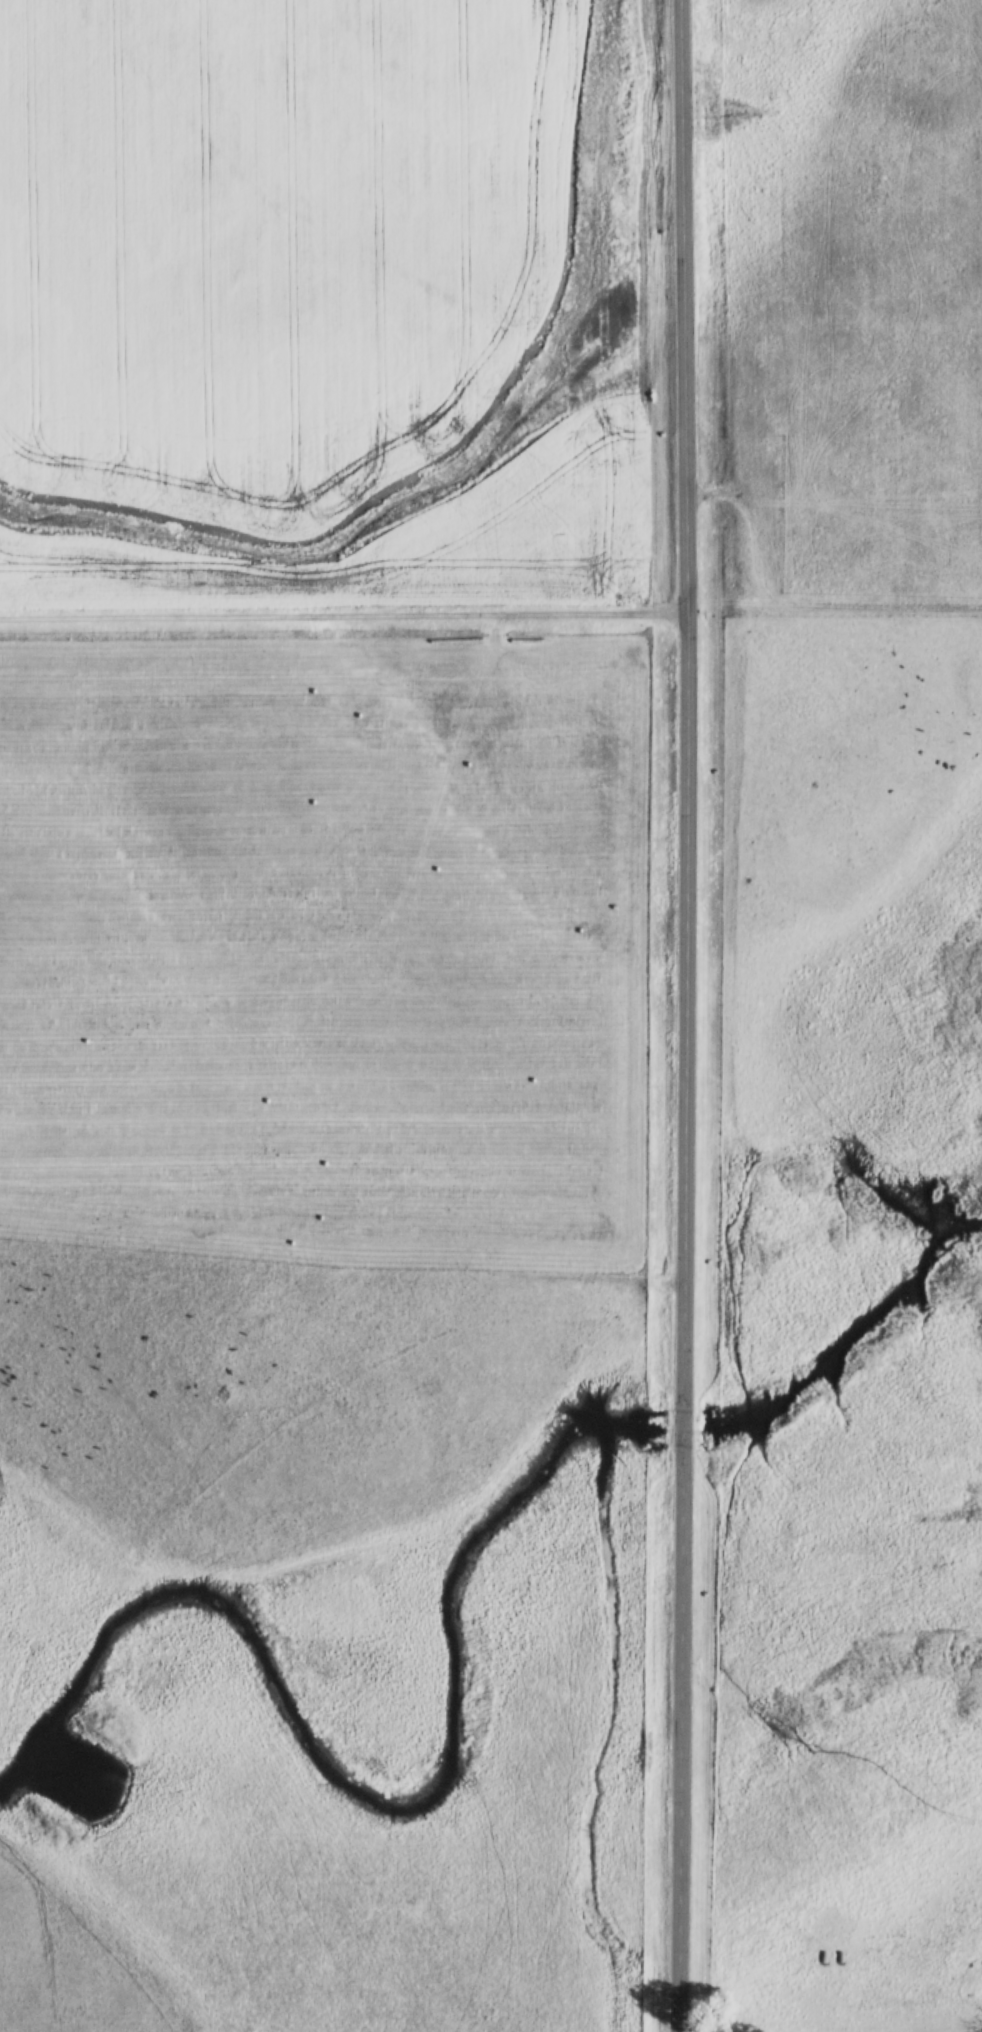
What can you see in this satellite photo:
road: (347, 613)
road: (693, 1015)

